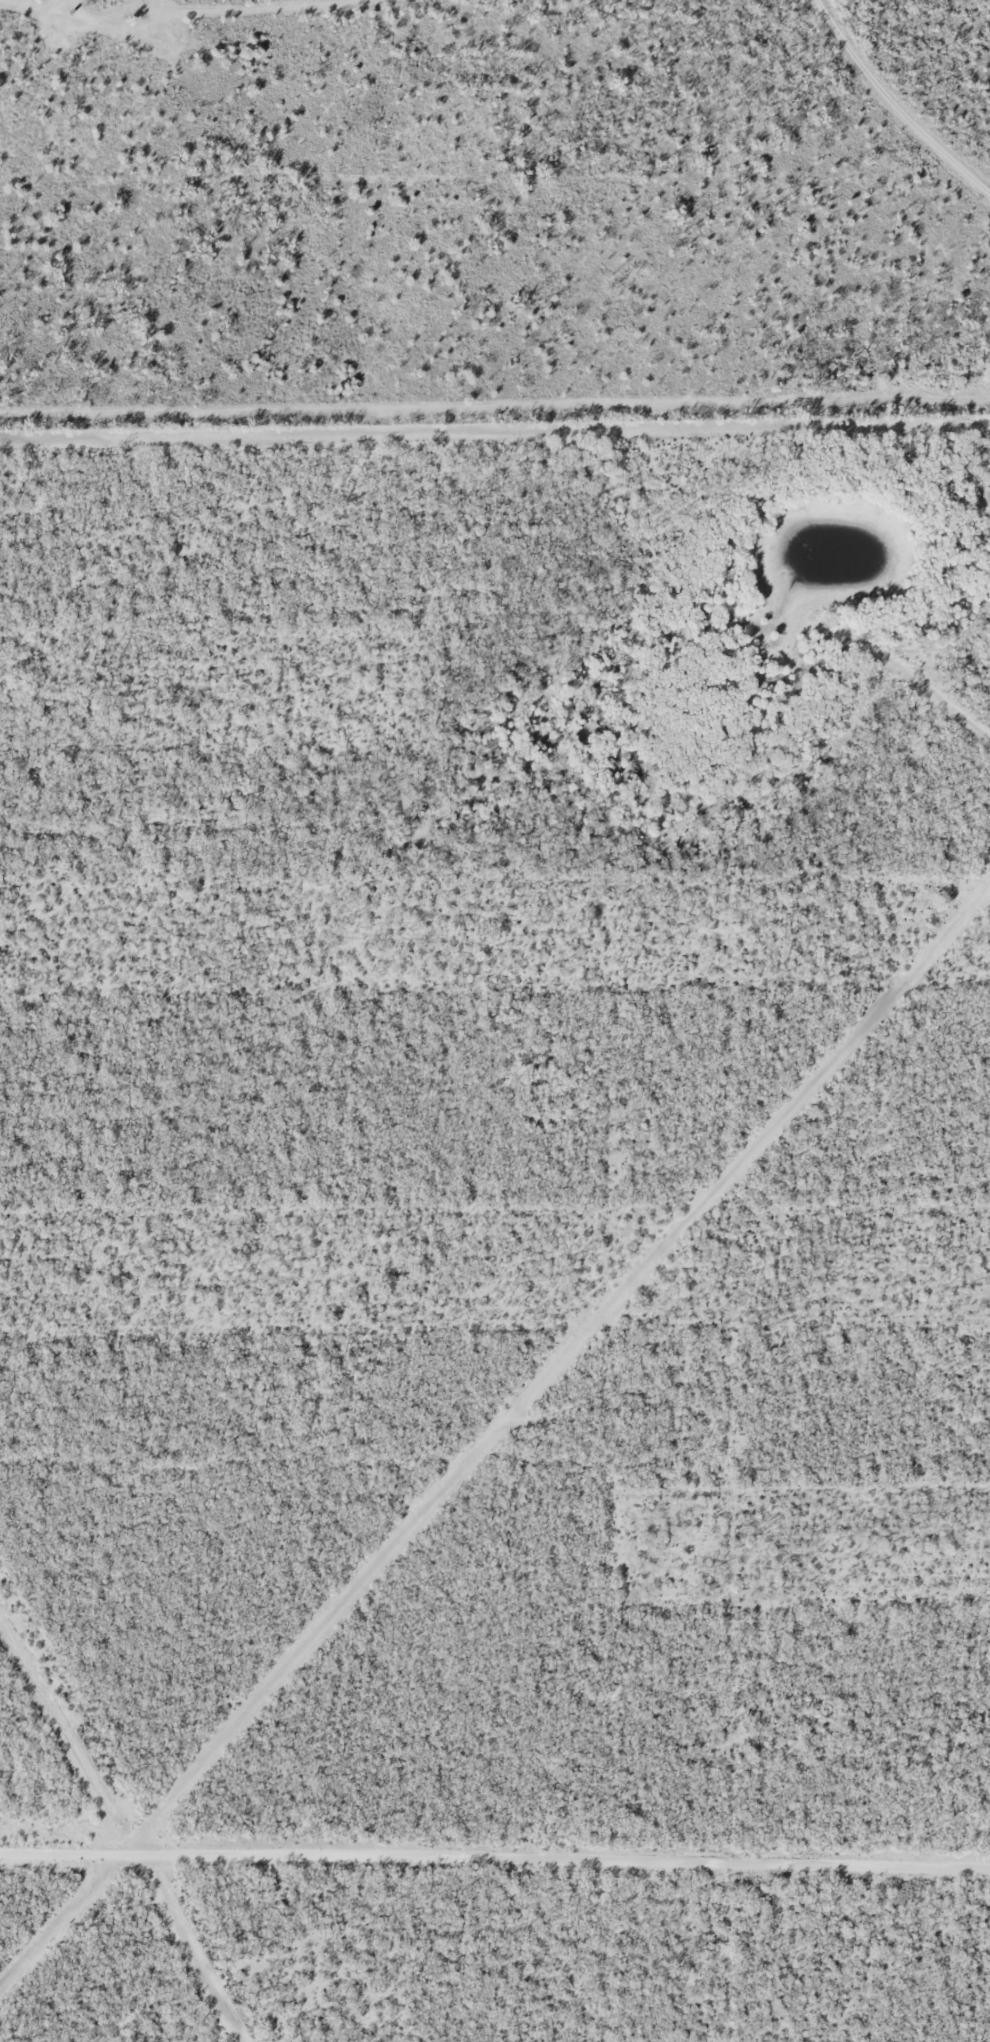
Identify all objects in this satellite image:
road: (895, 104)

